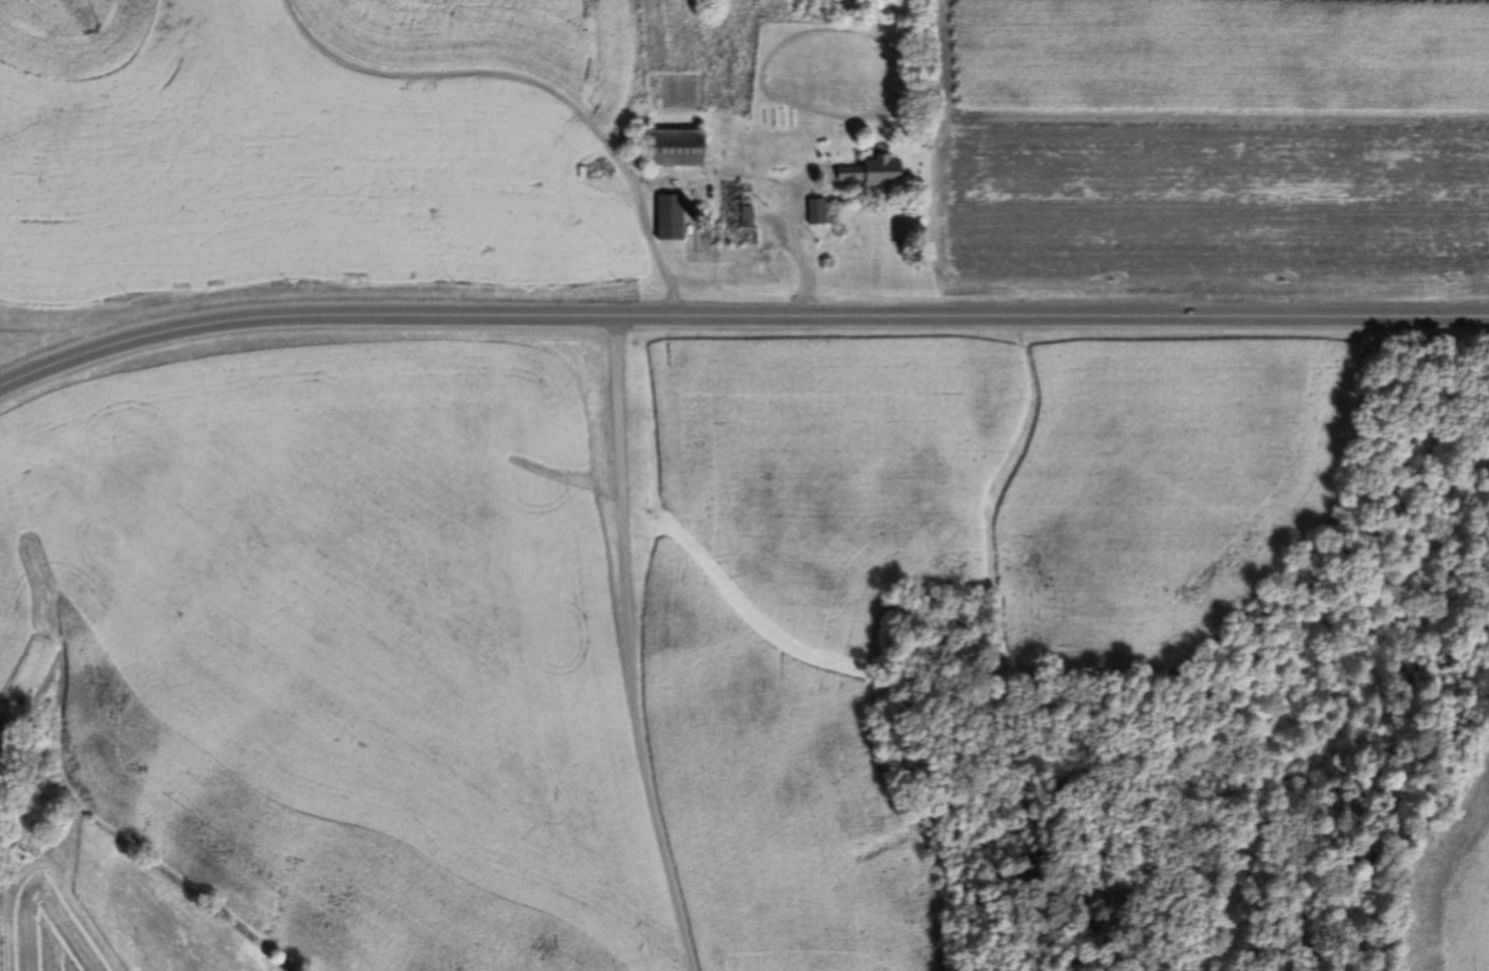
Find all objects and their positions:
building: (670, 147)
building: (873, 172)
building: (817, 211)
building: (671, 217)
road: (739, 320)
road: (643, 647)

